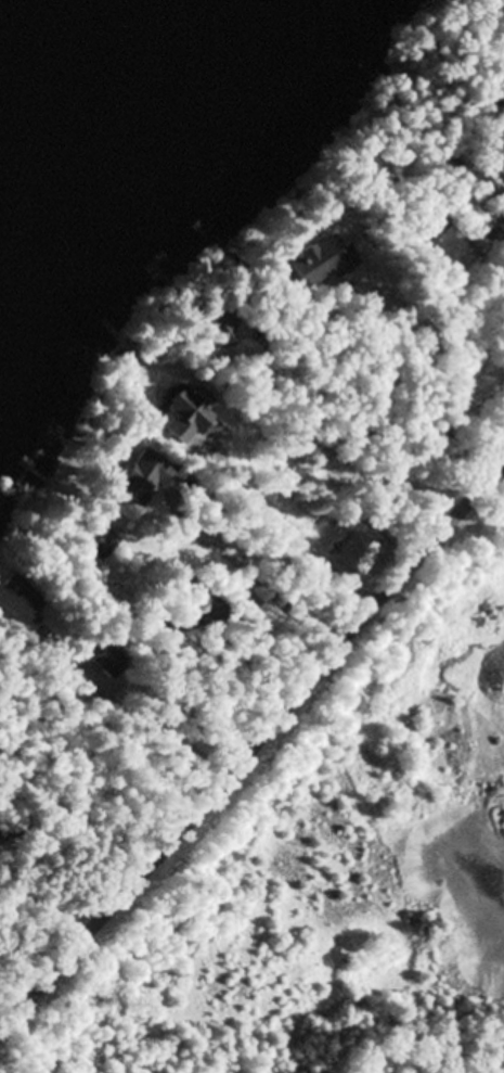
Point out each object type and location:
building: (499, 48)
building: (431, 226)
building: (181, 416)
building: (137, 480)
road: (273, 527)
building: (104, 540)
building: (352, 557)
building: (15, 602)
building: (102, 663)
road: (133, 704)
road: (255, 749)
quarry: (328, 869)
road: (44, 908)

